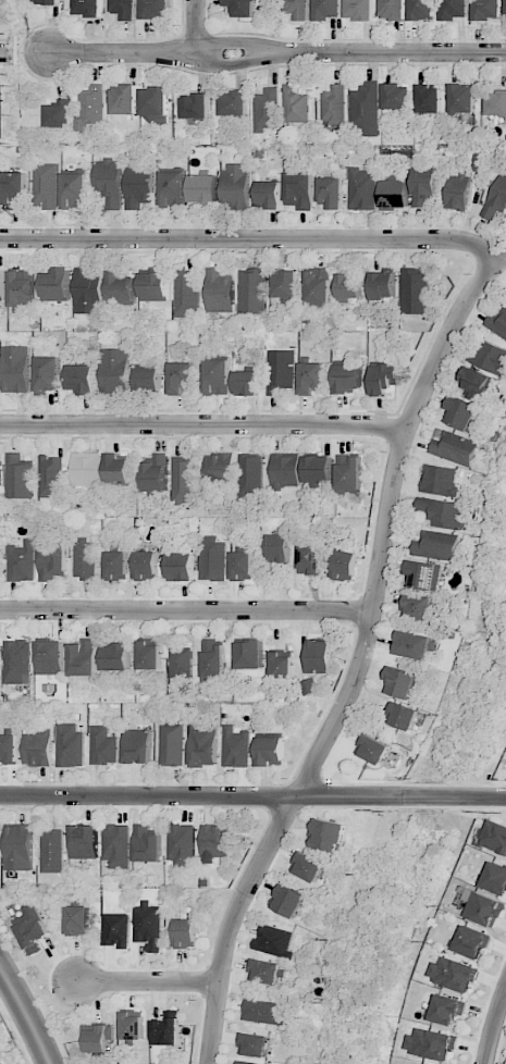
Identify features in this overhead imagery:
building: (47, 1)
building: (505, 7)
building: (88, 8)
building: (242, 8)
building: (125, 9)
building: (156, 9)
building: (300, 9)
building: (328, 10)
building: (359, 10)
building: (393, 10)
building: (422, 10)
building: (454, 10)
building: (486, 10)
road: (196, 26)
road: (275, 51)
road: (5, 52)
building: (397, 97)
building: (461, 98)
building: (124, 99)
building: (430, 99)
building: (234, 103)
building: (496, 103)
building: (155, 104)
building: (295, 104)
building: (195, 107)
building: (334, 107)
building: (91, 108)
building: (366, 109)
building: (267, 110)
building: (59, 113)
building: (109, 182)
building: (46, 185)
building: (235, 185)
building: (424, 186)
building: (203, 188)
building: (13, 189)
building: (173, 189)
building: (362, 189)
building: (74, 190)
building: (298, 190)
building: (458, 190)
building: (331, 193)
building: (269, 194)
building: (394, 194)
building: (496, 197)
road: (251, 238)
building: (2, 284)
building: (155, 284)
building: (58, 285)
building: (286, 285)
building: (383, 285)
building: (349, 286)
building: (121, 287)
building: (318, 287)
building: (22, 290)
building: (88, 290)
building: (252, 290)
building: (415, 290)
building: (220, 292)
building: (187, 295)
building: (497, 323)
building: (490, 358)
building: (15, 369)
building: (115, 372)
building: (282, 372)
building: (48, 373)
building: (148, 376)
building: (217, 376)
building: (181, 378)
building: (311, 378)
building: (82, 379)
building: (348, 379)
building: (384, 379)
building: (246, 383)
building: (474, 383)
building: (461, 413)
road: (201, 424)
building: (455, 448)
building: (219, 467)
building: (116, 468)
building: (86, 469)
building: (318, 469)
building: (285, 470)
building: (0, 473)
building: (348, 473)
building: (156, 474)
building: (250, 474)
building: (51, 477)
building: (20, 478)
building: (183, 479)
building: (437, 480)
building: (442, 511)
building: (436, 545)
building: (279, 548)
building: (212, 558)
building: (85, 559)
building: (309, 559)
building: (52, 560)
building: (22, 561)
building: (1, 565)
building: (116, 566)
building: (147, 566)
building: (242, 566)
building: (345, 566)
building: (181, 567)
building: (422, 576)
building: (417, 606)
road: (185, 610)
building: (412, 645)
building: (150, 654)
building: (248, 654)
building: (320, 656)
building: (50, 657)
building: (116, 657)
road: (360, 658)
building: (83, 659)
building: (212, 660)
building: (17, 661)
building: (281, 665)
building: (180, 668)
building: (402, 683)
building: (309, 685)
building: (402, 716)
building: (172, 744)
building: (70, 745)
building: (202, 745)
building: (103, 746)
building: (137, 746)
building: (235, 746)
building: (9, 748)
building: (37, 748)
building: (372, 750)
building: (271, 751)
road: (252, 795)
building: (328, 836)
building: (494, 838)
building: (84, 842)
building: (215, 842)
building: (147, 844)
building: (182, 844)
building: (116, 845)
building: (18, 848)
building: (52, 851)
building: (308, 867)
building: (495, 878)
building: (288, 901)
building: (483, 908)
building: (77, 920)
building: (148, 926)
building: (32, 929)
building: (116, 930)
building: (186, 933)
building: (274, 941)
building: (471, 942)
building: (267, 970)
building: (454, 974)
road: (147, 980)
building: (446, 1010)
building: (263, 1012)
road: (26, 1015)
building: (133, 1025)
road: (495, 1028)
building: (166, 1029)
building: (96, 1038)
building: (431, 1043)
building: (252, 1044)
building: (246, 1063)

